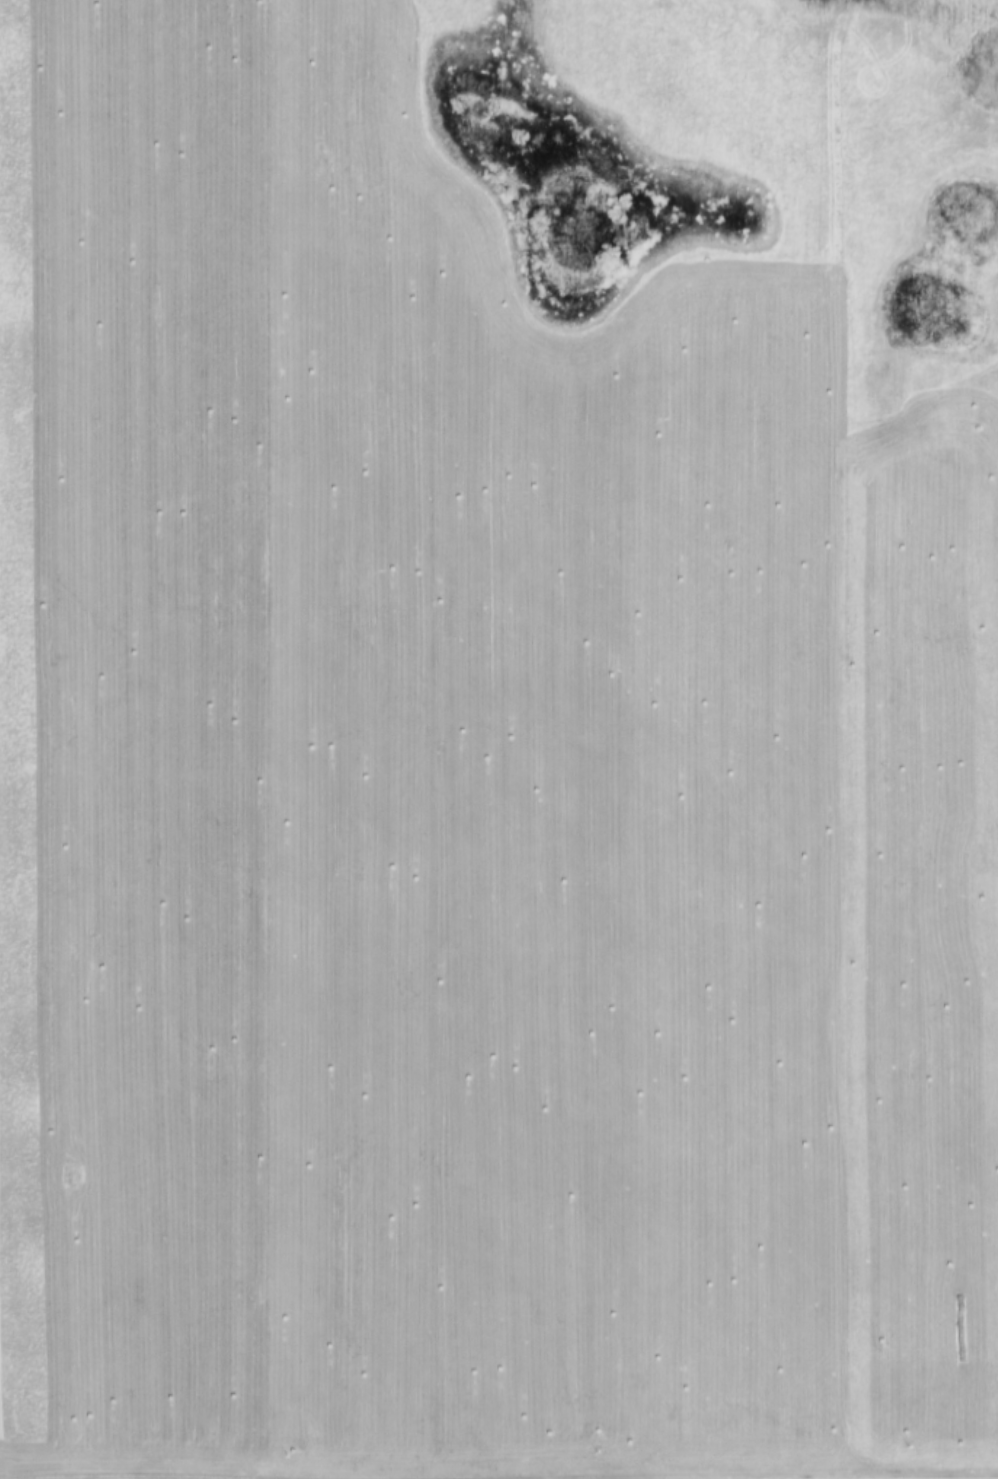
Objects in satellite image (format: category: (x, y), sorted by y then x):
road: (582, 1475)

